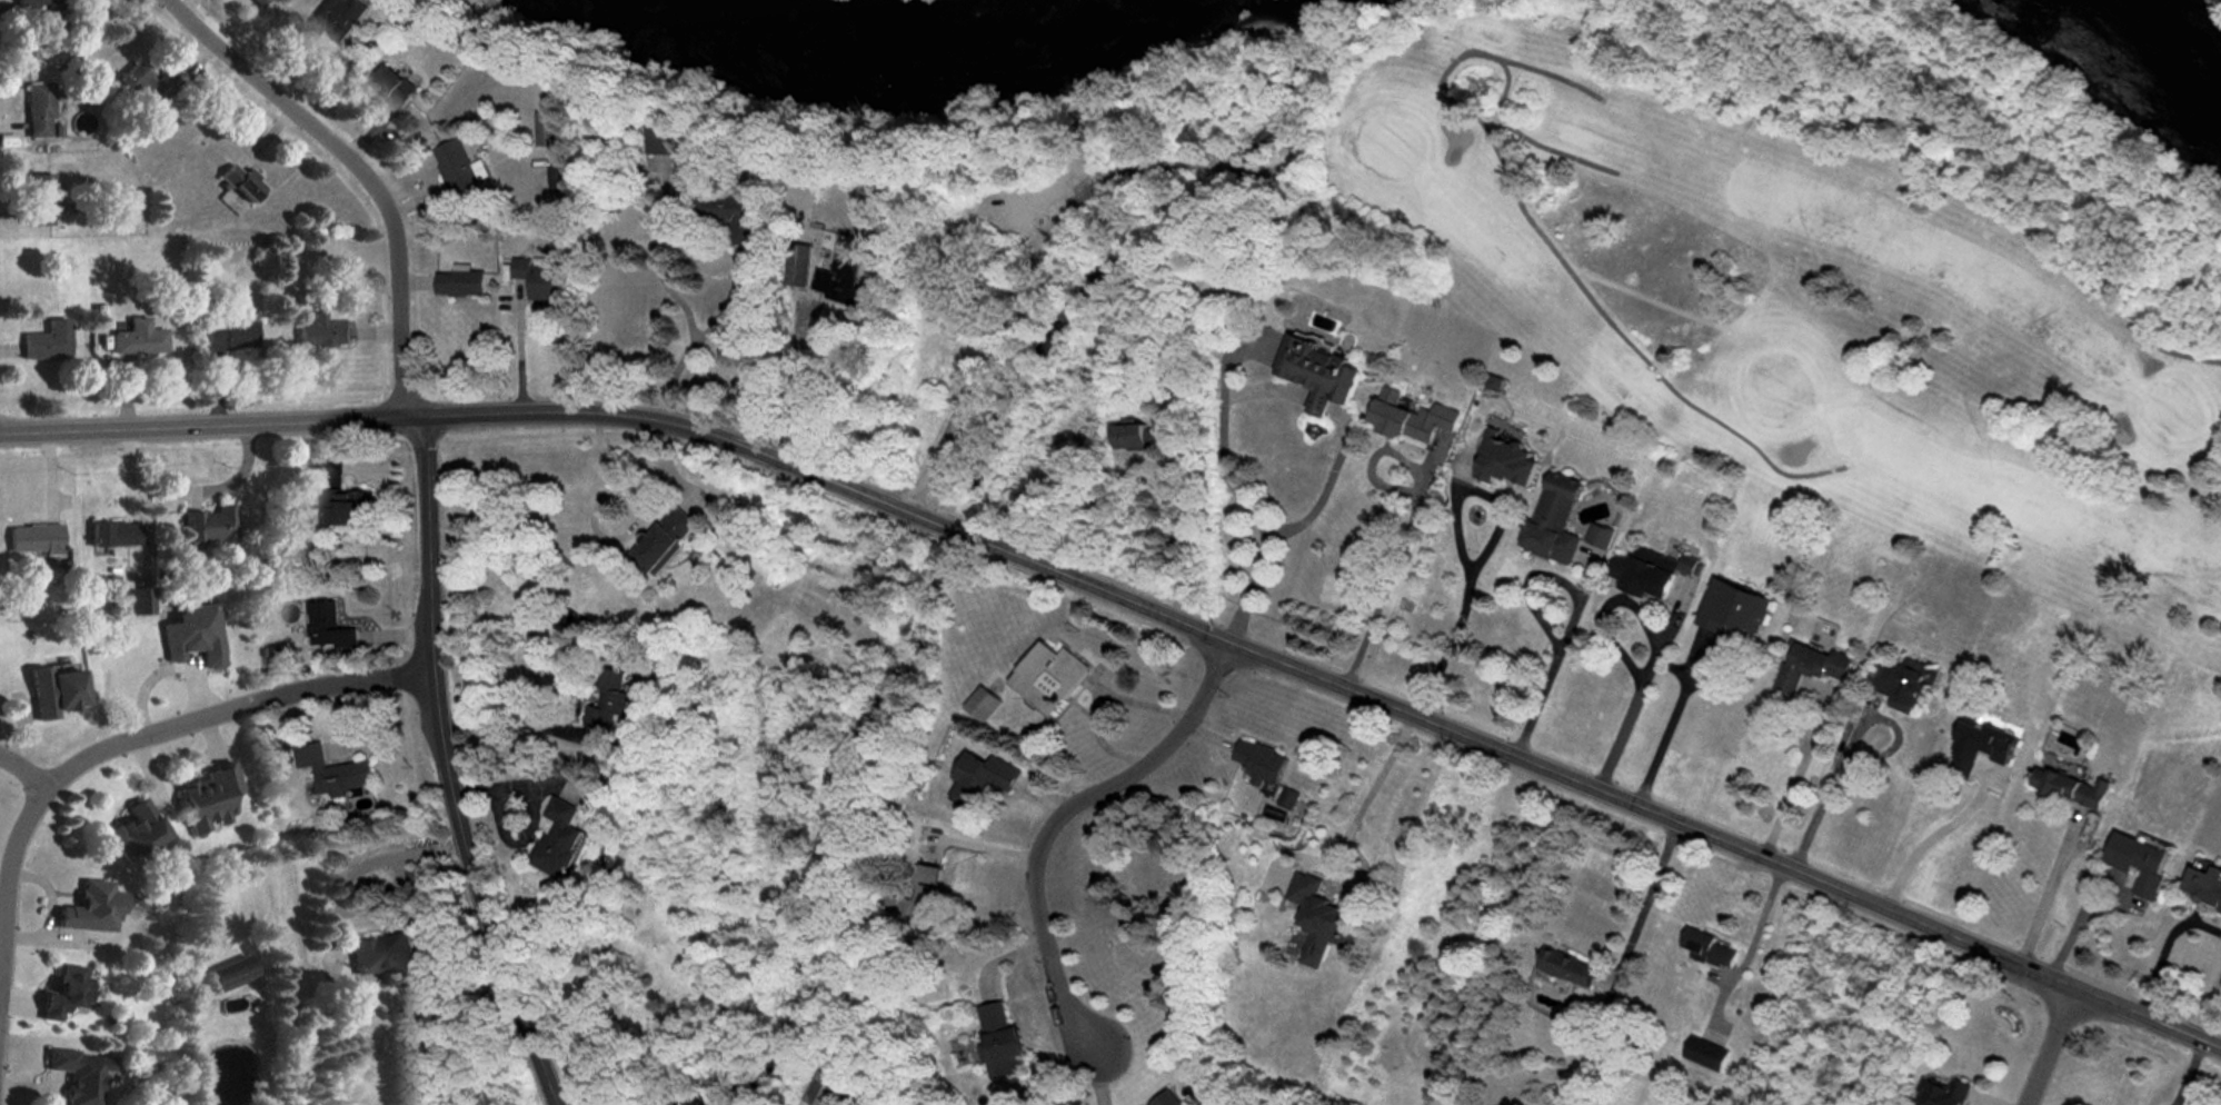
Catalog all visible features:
building: (38, 3)
building: (260, 3)
building: (339, 19)
river: (920, 33)
river: (2161, 34)
building: (150, 88)
building: (396, 89)
building: (41, 110)
building: (551, 130)
building: (671, 138)
road: (1077, 148)
road: (1147, 167)
building: (458, 168)
road: (357, 169)
building: (246, 185)
building: (46, 201)
building: (727, 216)
park: (1850, 246)
road: (660, 256)
road: (932, 261)
building: (797, 265)
building: (538, 279)
building: (839, 279)
building: (462, 283)
park: (1074, 290)
road: (1013, 296)
building: (229, 332)
building: (326, 334)
building: (139, 337)
road: (699, 337)
building: (50, 342)
road: (518, 349)
building: (1321, 370)
building: (1495, 382)
road: (803, 386)
road: (1265, 390)
road: (1312, 399)
road: (1323, 406)
building: (1412, 417)
road: (1223, 434)
building: (1138, 437)
building: (1505, 460)
road: (1322, 482)
road: (592, 505)
building: (343, 507)
building: (1553, 520)
building: (207, 526)
building: (111, 532)
building: (1600, 536)
building: (36, 538)
building: (666, 540)
road: (1480, 550)
road: (1391, 560)
building: (1649, 571)
road: (1525, 585)
road: (1245, 590)
building: (136, 600)
road: (1136, 603)
building: (1732, 608)
road: (1604, 609)
building: (328, 626)
building: (196, 635)
road: (1551, 653)
building: (1809, 666)
building: (1052, 677)
building: (1901, 683)
road: (1636, 685)
building: (56, 690)
building: (610, 701)
road: (1098, 704)
building: (987, 705)
road: (1666, 720)
road: (153, 730)
road: (551, 733)
road: (1844, 738)
building: (1980, 747)
building: (1263, 764)
road: (445, 767)
road: (22, 771)
building: (337, 771)
building: (984, 779)
road: (1370, 788)
road: (1786, 788)
building: (2069, 788)
building: (210, 799)
building: (1289, 799)
road: (531, 810)
road: (1055, 817)
building: (137, 832)
road: (1932, 836)
building: (560, 840)
building: (2137, 862)
road: (352, 870)
building: (2204, 882)
road: (2045, 887)
building: (928, 888)
road: (1642, 902)
building: (93, 908)
building: (1318, 919)
road: (1754, 946)
building: (1707, 948)
road: (2167, 949)
building: (381, 954)
building: (1565, 966)
building: (235, 977)
building: (67, 993)
road: (2207, 1005)
building: (1002, 1044)
road: (2048, 1044)
building: (1703, 1054)
road: (2185, 1071)
building: (81, 1074)
building: (828, 1093)
building: (1944, 1093)
building: (1164, 1098)

